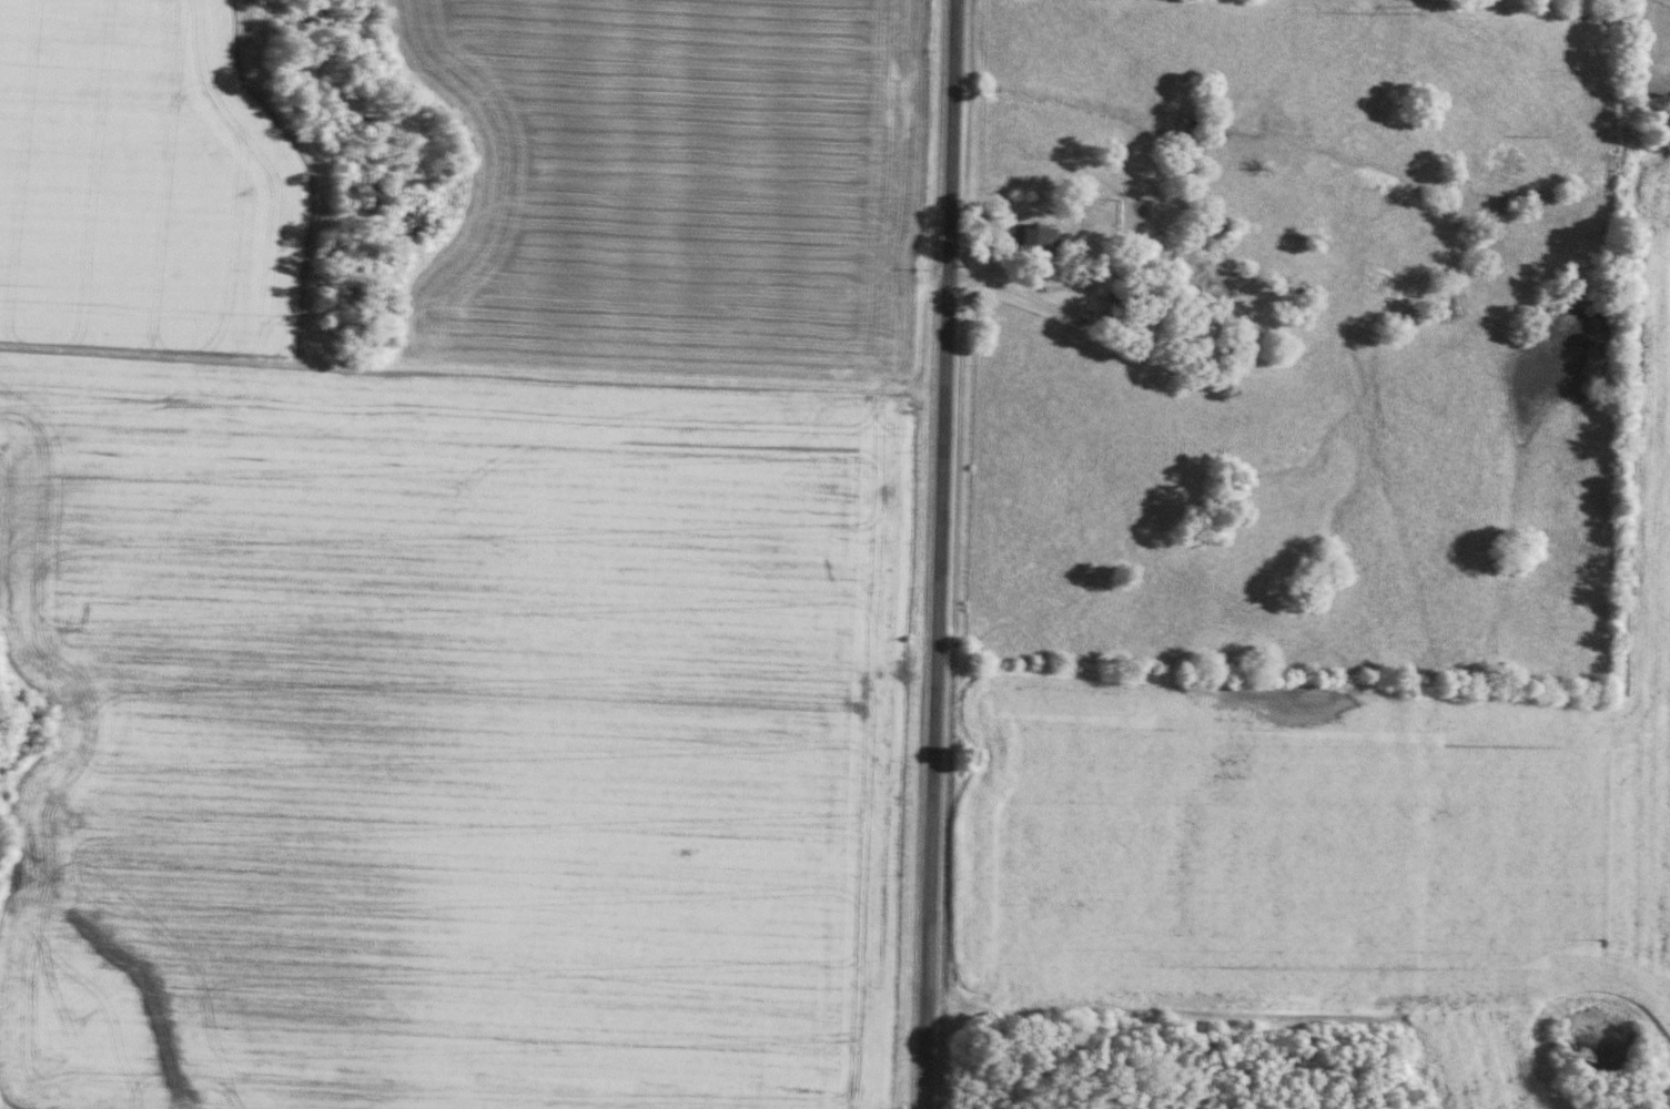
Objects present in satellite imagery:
building: (1038, 237)
road: (1096, 282)
building: (1113, 307)
road: (940, 554)

